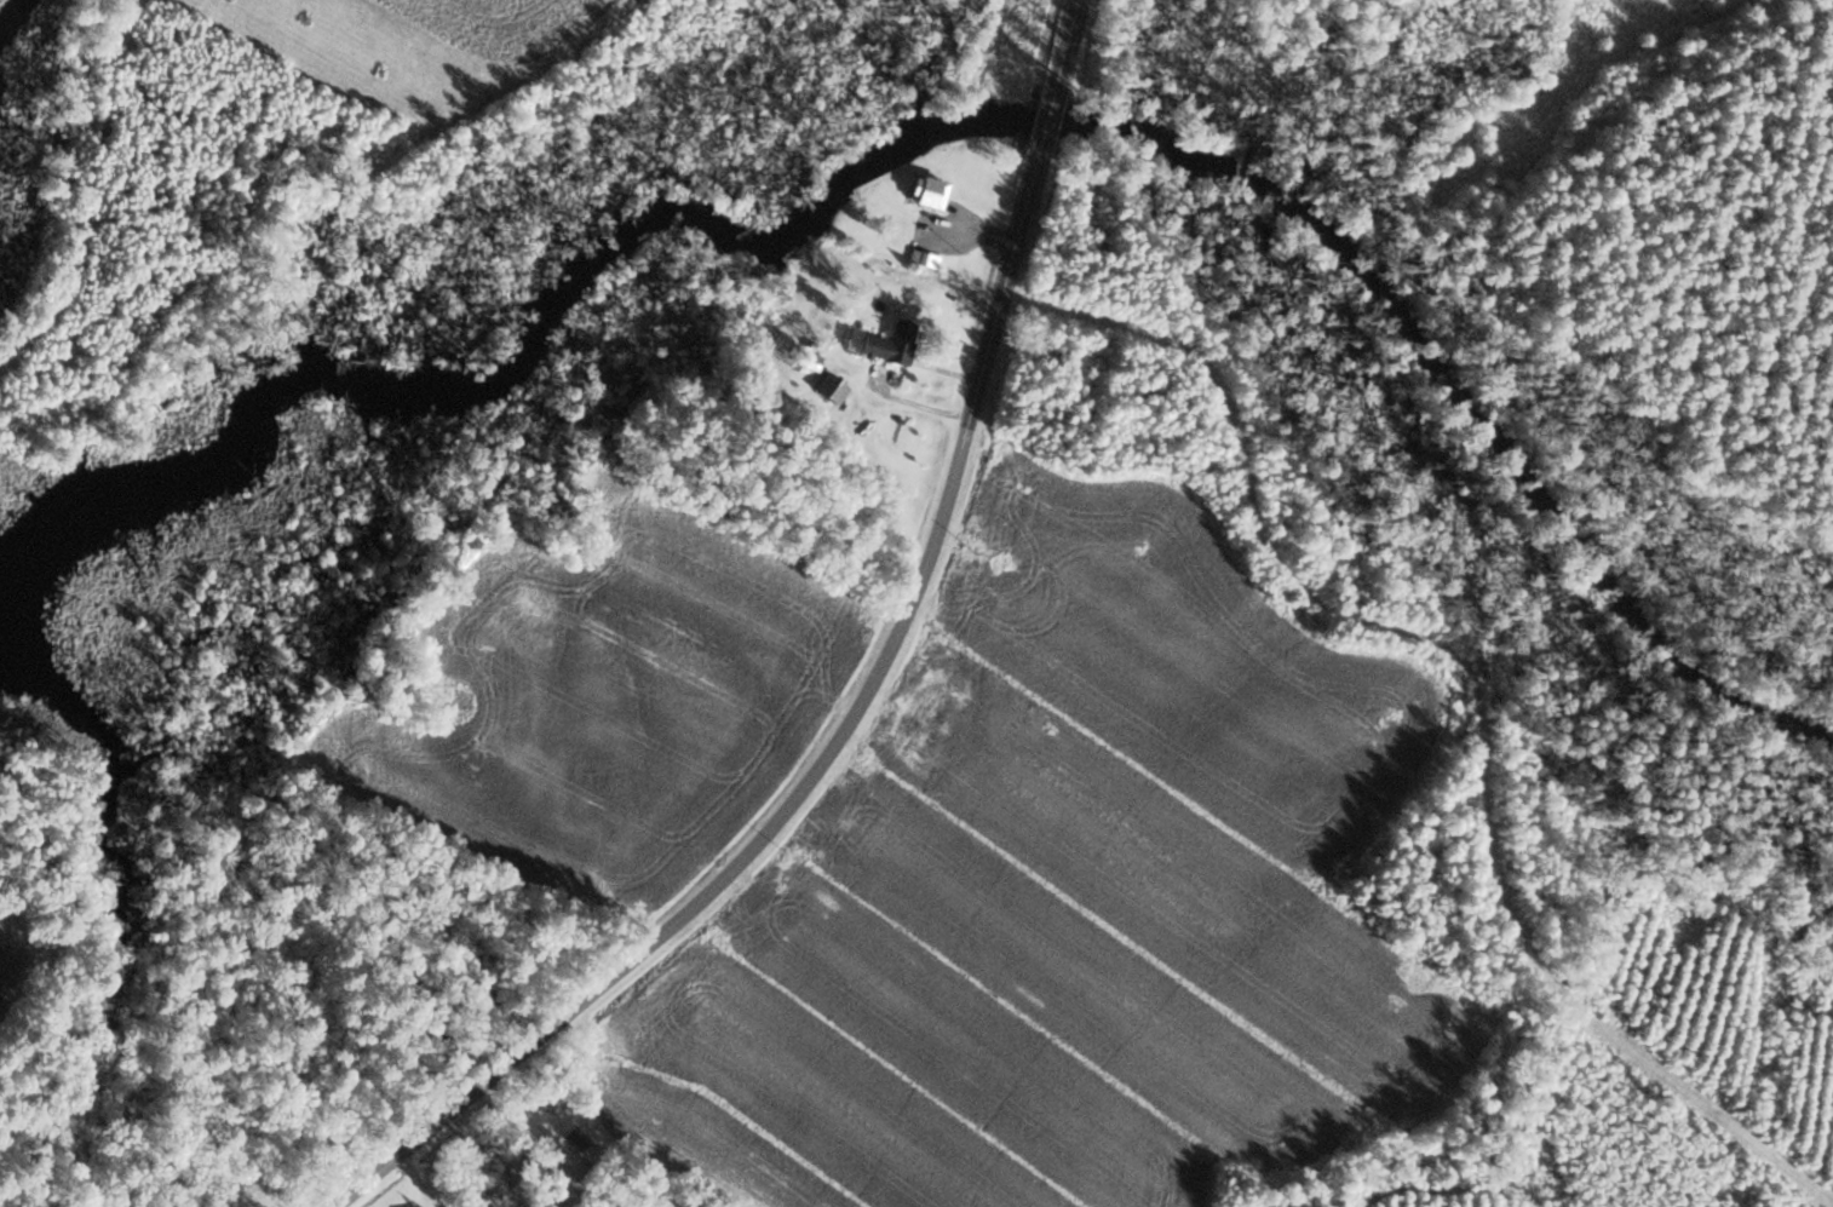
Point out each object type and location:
building: (925, 191)
building: (890, 343)
building: (831, 389)
building: (926, 668)
road: (861, 699)
building: (910, 747)

